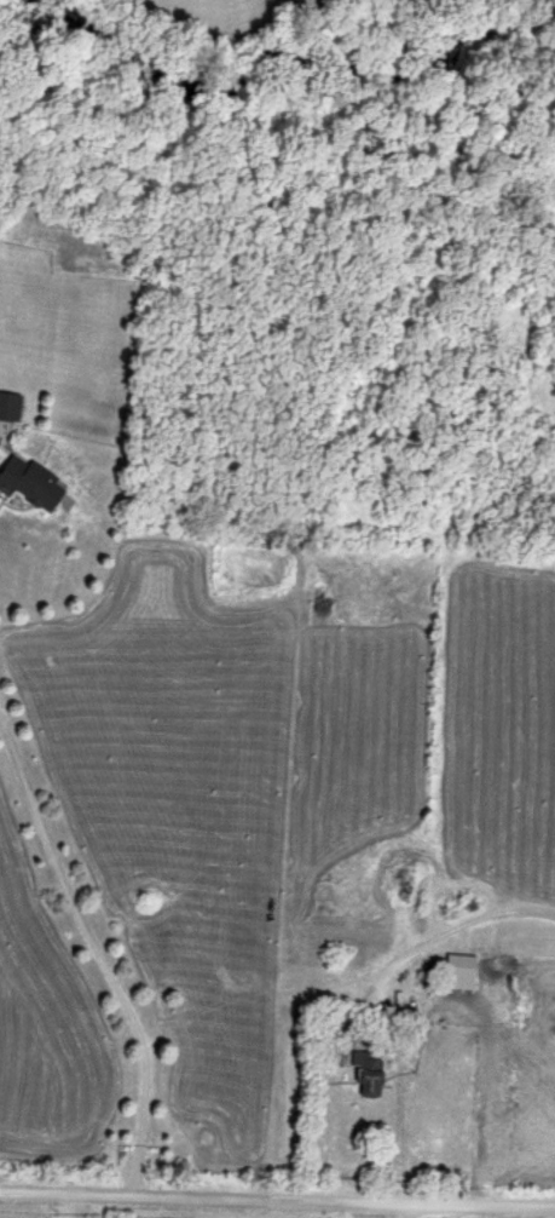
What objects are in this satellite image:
river: (295, 82)
building: (10, 408)
building: (33, 487)
road: (94, 949)
building: (457, 972)
road: (370, 989)
building: (368, 1076)
road: (277, 1193)

